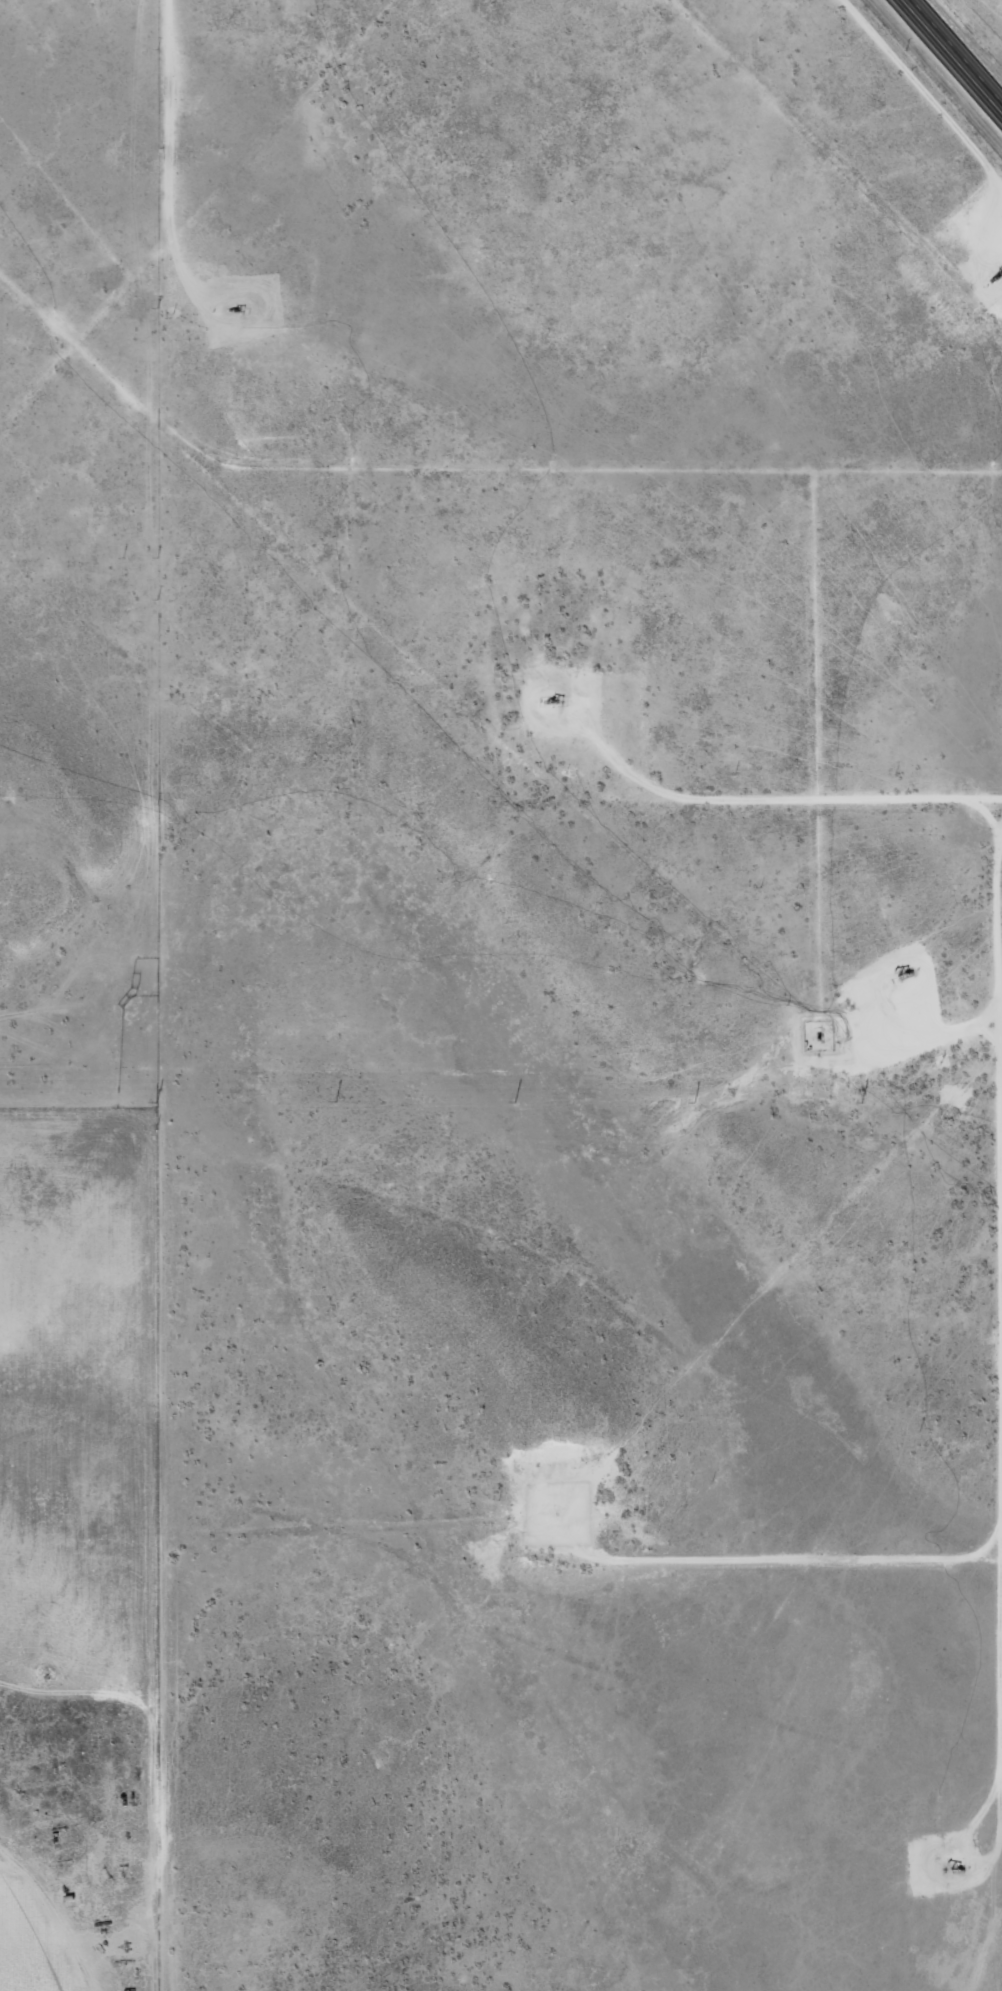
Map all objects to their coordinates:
road: (951, 55)
road: (602, 744)
road: (817, 794)
road: (994, 1256)
road: (796, 1546)

